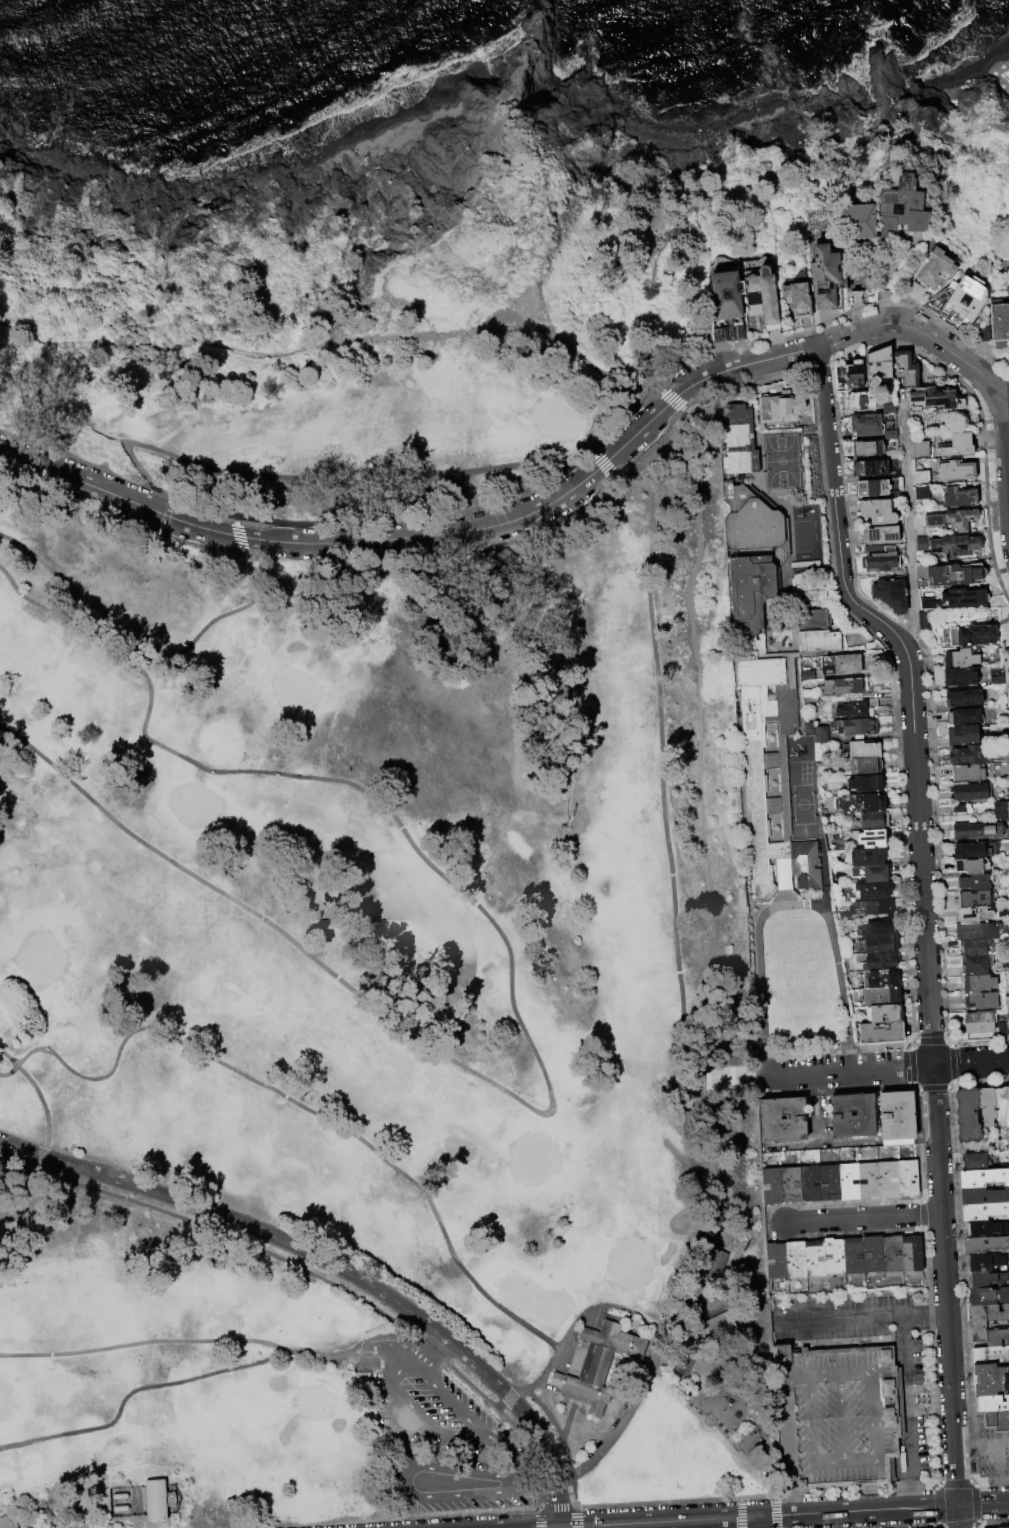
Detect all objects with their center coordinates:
park: (975, 84)
building: (902, 208)
building: (858, 222)
park: (358, 236)
building: (932, 273)
building: (825, 276)
building: (858, 282)
building: (726, 290)
building: (763, 290)
building: (1008, 294)
building: (798, 296)
building: (961, 300)
road: (503, 313)
building: (1000, 323)
road: (501, 328)
road: (915, 328)
building: (983, 335)
road: (144, 347)
road: (765, 359)
building: (906, 369)
building: (879, 370)
building: (854, 377)
road: (1004, 389)
building: (935, 400)
building: (863, 401)
building: (781, 408)
building: (890, 409)
road: (643, 425)
building: (872, 426)
park: (356, 430)
building: (740, 440)
building: (958, 446)
building: (868, 448)
building: (921, 450)
building: (892, 455)
building: (785, 461)
road: (1003, 465)
building: (870, 469)
building: (957, 471)
road: (67, 475)
road: (292, 477)
building: (922, 477)
building: (872, 488)
building: (922, 494)
building: (959, 497)
road: (551, 501)
building: (878, 512)
building: (954, 519)
road: (907, 524)
road: (229, 533)
building: (881, 535)
road: (426, 537)
building: (922, 544)
building: (955, 546)
building: (881, 559)
building: (805, 563)
building: (955, 575)
building: (811, 593)
building: (891, 594)
building: (981, 598)
building: (959, 599)
building: (929, 604)
building: (815, 618)
building: (926, 622)
building: (971, 635)
building: (819, 640)
road: (152, 649)
building: (961, 658)
building: (845, 664)
building: (761, 672)
building: (1006, 673)
building: (807, 674)
building: (962, 676)
building: (997, 680)
park: (298, 689)
building: (844, 689)
road: (911, 691)
building: (811, 697)
building: (963, 698)
building: (851, 708)
building: (965, 717)
building: (856, 726)
building: (809, 727)
building: (821, 734)
building: (963, 735)
building: (862, 748)
building: (966, 755)
building: (866, 765)
building: (967, 772)
building: (866, 783)
building: (1007, 786)
road: (704, 787)
building: (971, 791)
building: (861, 802)
park: (196, 804)
building: (960, 807)
building: (1002, 810)
building: (872, 820)
road: (668, 823)
building: (978, 830)
building: (874, 837)
building: (971, 850)
building: (866, 856)
building: (806, 863)
building: (972, 866)
building: (872, 872)
building: (976, 882)
building: (873, 890)
building: (976, 898)
road: (792, 903)
building: (878, 906)
park: (367, 910)
building: (974, 914)
building: (879, 927)
building: (975, 930)
building: (879, 943)
park: (373, 944)
building: (975, 946)
park: (44, 959)
building: (880, 961)
building: (974, 964)
building: (881, 977)
building: (979, 983)
building: (882, 995)
building: (982, 1000)
building: (886, 1013)
building: (980, 1022)
building: (1004, 1022)
road: (522, 1025)
building: (882, 1032)
road: (971, 1061)
road: (890, 1066)
road: (800, 1071)
road: (731, 1076)
road: (699, 1078)
building: (989, 1105)
building: (1003, 1105)
building: (969, 1115)
building: (854, 1116)
building: (898, 1116)
building: (785, 1119)
road: (332, 1121)
road: (51, 1129)
building: (978, 1161)
building: (910, 1178)
building: (984, 1178)
building: (890, 1180)
building: (869, 1181)
building: (849, 1182)
building: (830, 1183)
building: (810, 1184)
building: (791, 1185)
building: (773, 1186)
building: (984, 1196)
building: (985, 1211)
road: (862, 1217)
building: (987, 1229)
building: (985, 1245)
building: (894, 1253)
building: (914, 1253)
building: (874, 1254)
building: (835, 1256)
building: (855, 1256)
building: (797, 1259)
building: (816, 1259)
building: (778, 1261)
building: (985, 1263)
building: (717, 1265)
road: (338, 1266)
building: (988, 1280)
road: (945, 1284)
building: (989, 1296)
park: (538, 1300)
road: (923, 1312)
road: (840, 1317)
road: (580, 1320)
building: (990, 1324)
building: (722, 1330)
road: (235, 1341)
road: (432, 1349)
road: (367, 1353)
road: (654, 1355)
building: (991, 1355)
building: (601, 1364)
road: (872, 1373)
building: (836, 1378)
building: (991, 1380)
park: (214, 1385)
road: (567, 1393)
road: (908, 1393)
building: (577, 1397)
park: (5, 1399)
parking lot: (427, 1401)
park: (318, 1402)
road: (138, 1403)
building: (992, 1404)
road: (843, 1417)
road: (813, 1418)
building: (990, 1421)
building: (1002, 1422)
road: (445, 1432)
road: (565, 1436)
road: (965, 1443)
road: (996, 1443)
road: (789, 1444)
building: (839, 1444)
road: (735, 1455)
road: (846, 1461)
road: (472, 1471)
road: (408, 1478)
parking lot: (458, 1482)
road: (542, 1483)
road: (910, 1491)
road: (471, 1493)
building: (121, 1496)
building: (159, 1500)
road: (983, 1503)
building: (122, 1509)
road: (857, 1510)
road: (958, 1516)
road: (658, 1522)
road: (758, 1522)
building: (1000, 1527)

